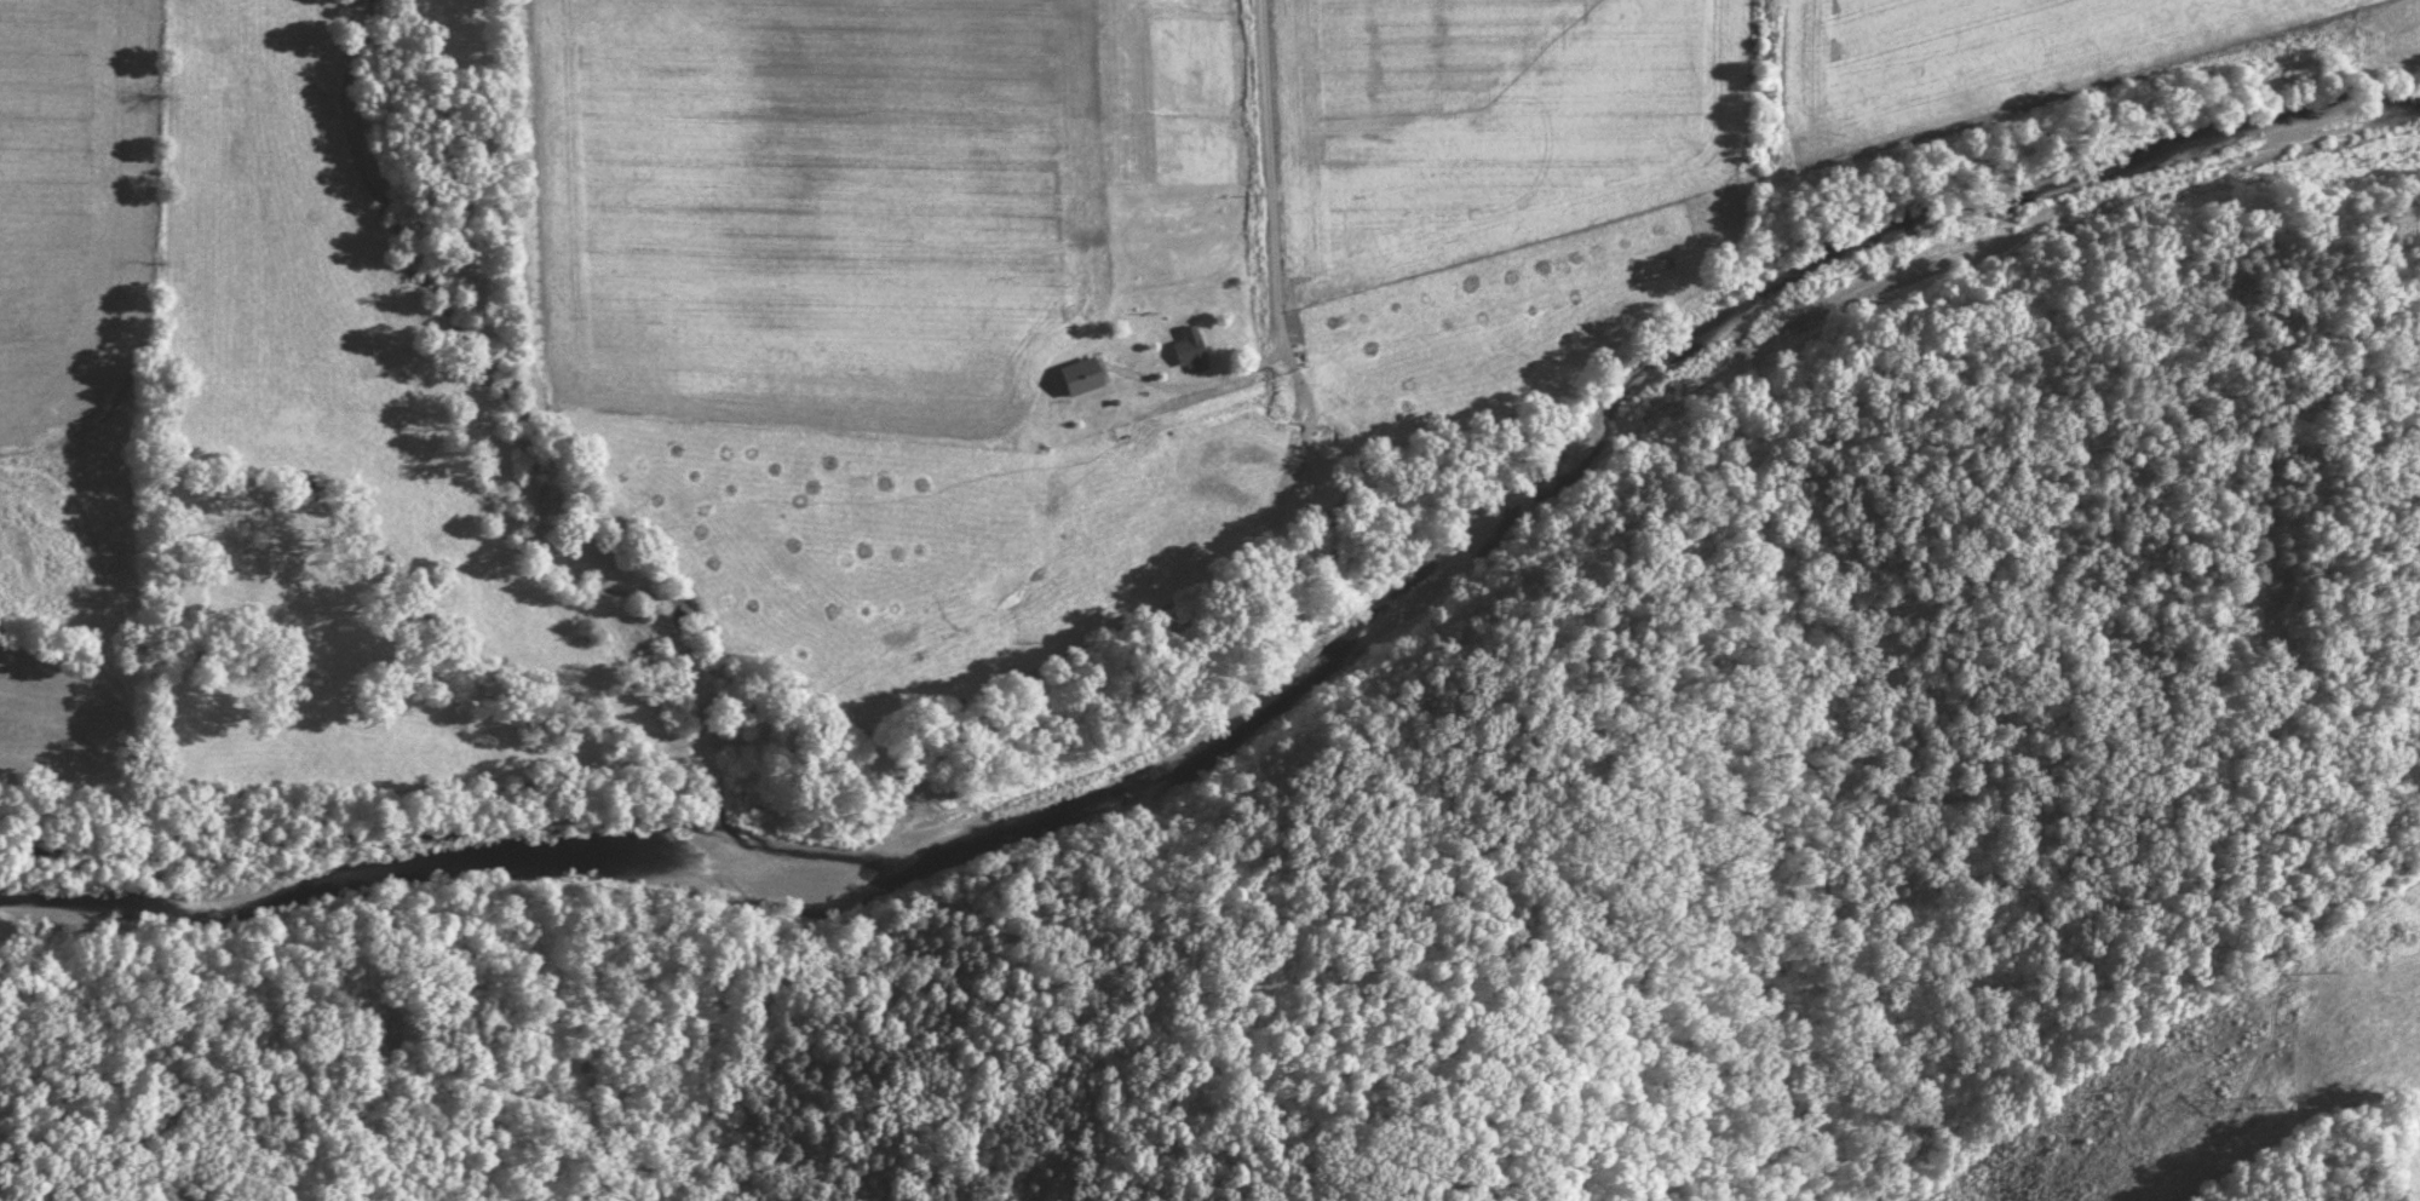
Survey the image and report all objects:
road: (1274, 262)
building: (1186, 351)
building: (1077, 378)
building: (1065, 425)

